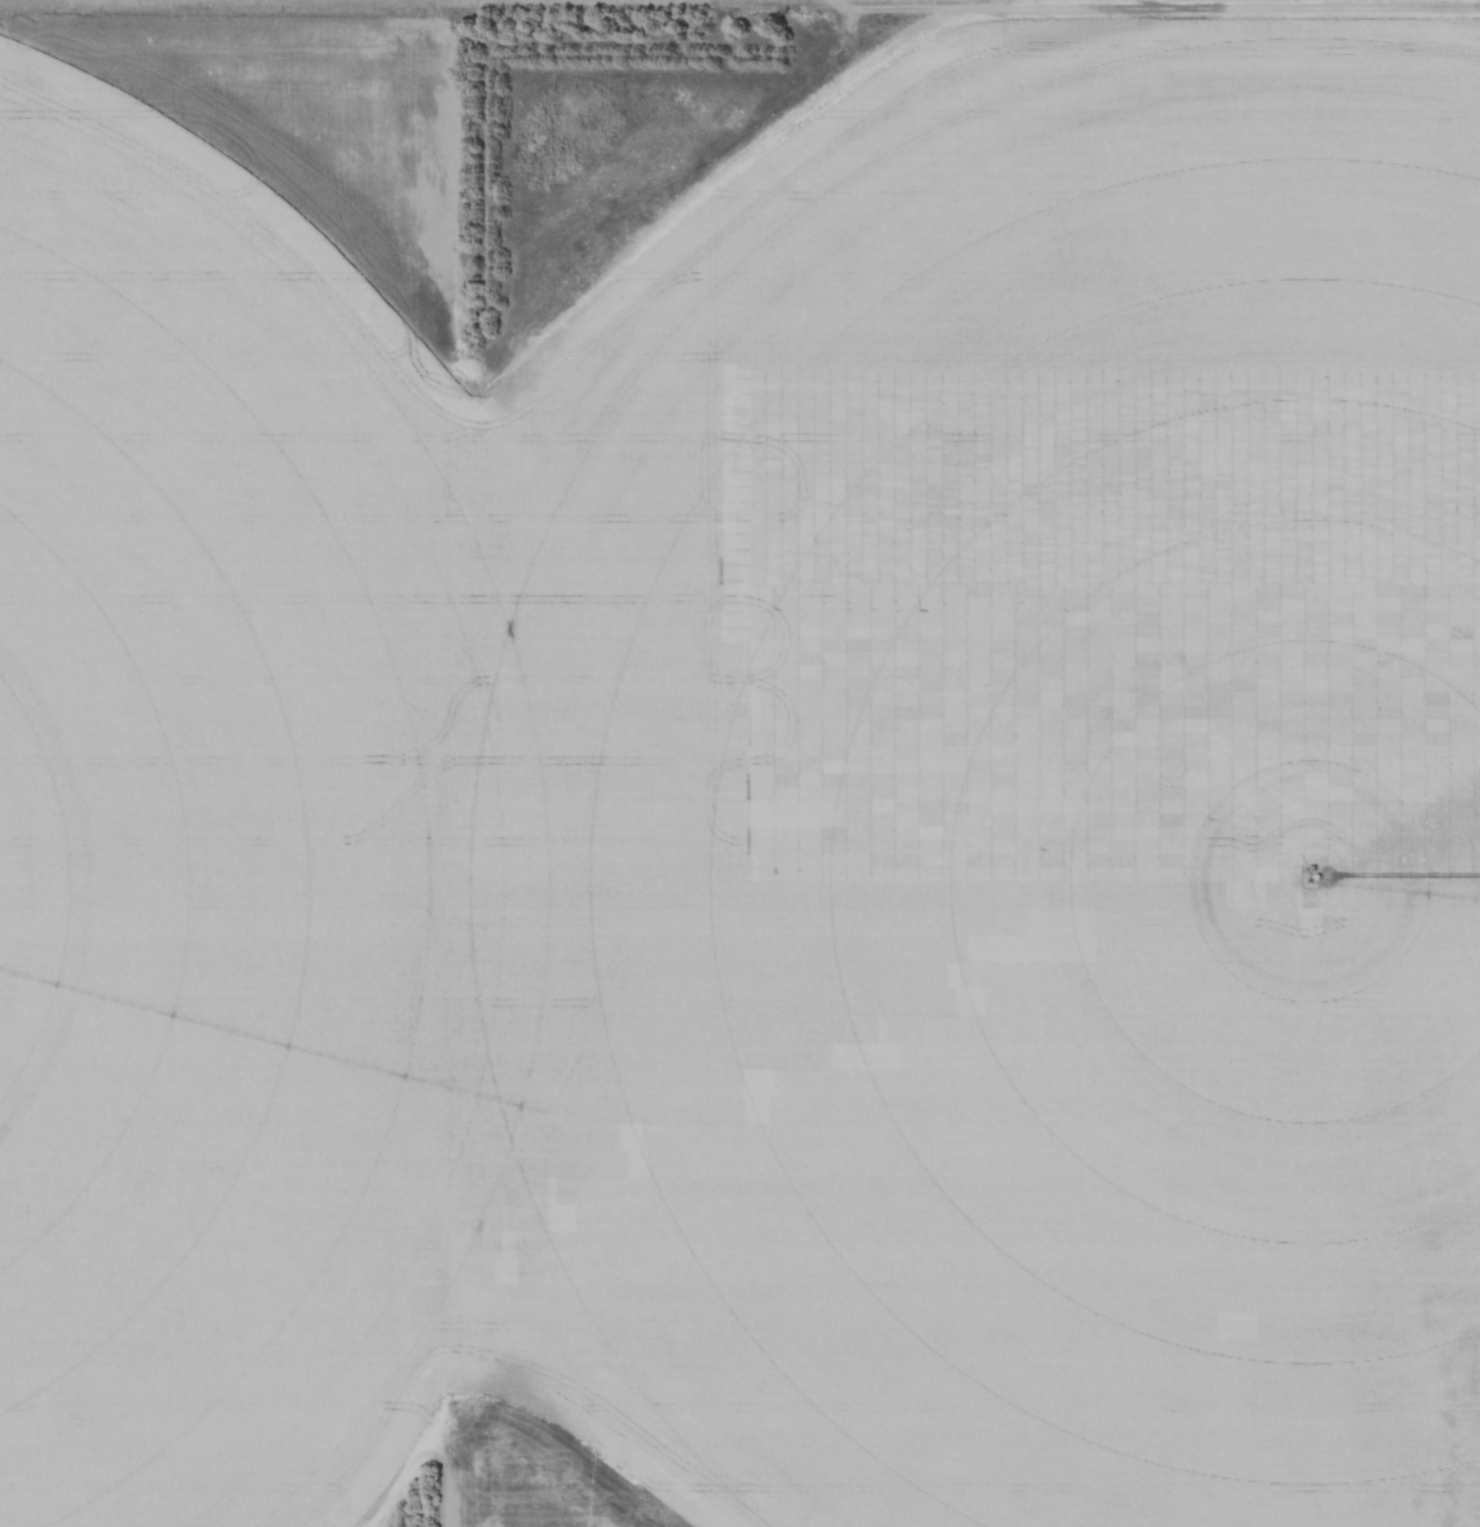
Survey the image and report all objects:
building: (1470, 1449)

